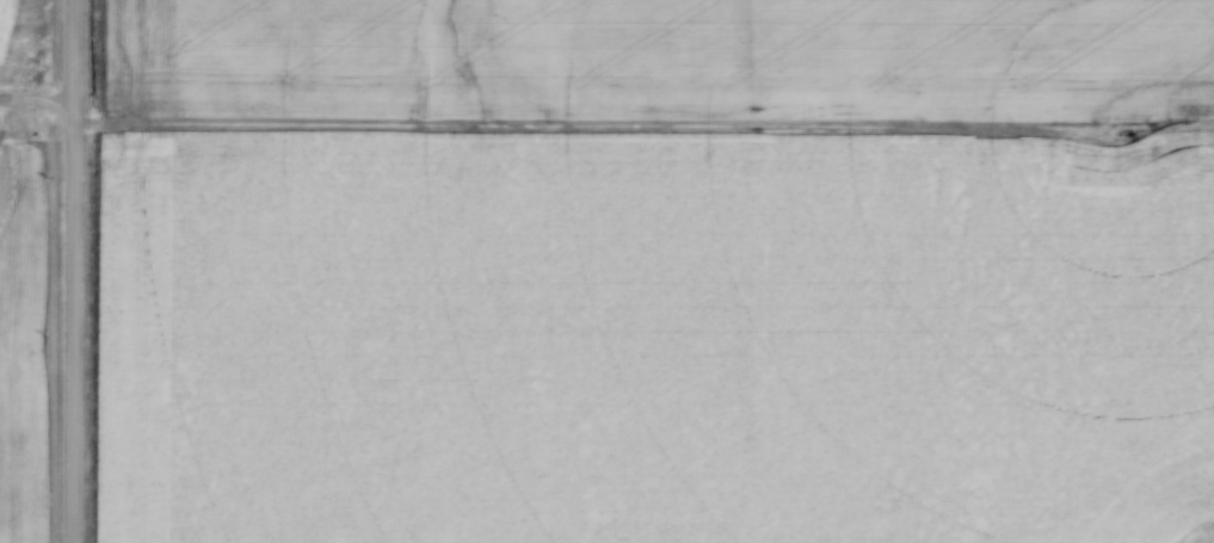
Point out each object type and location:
road: (37, 110)
road: (75, 271)
building: (874, 278)

